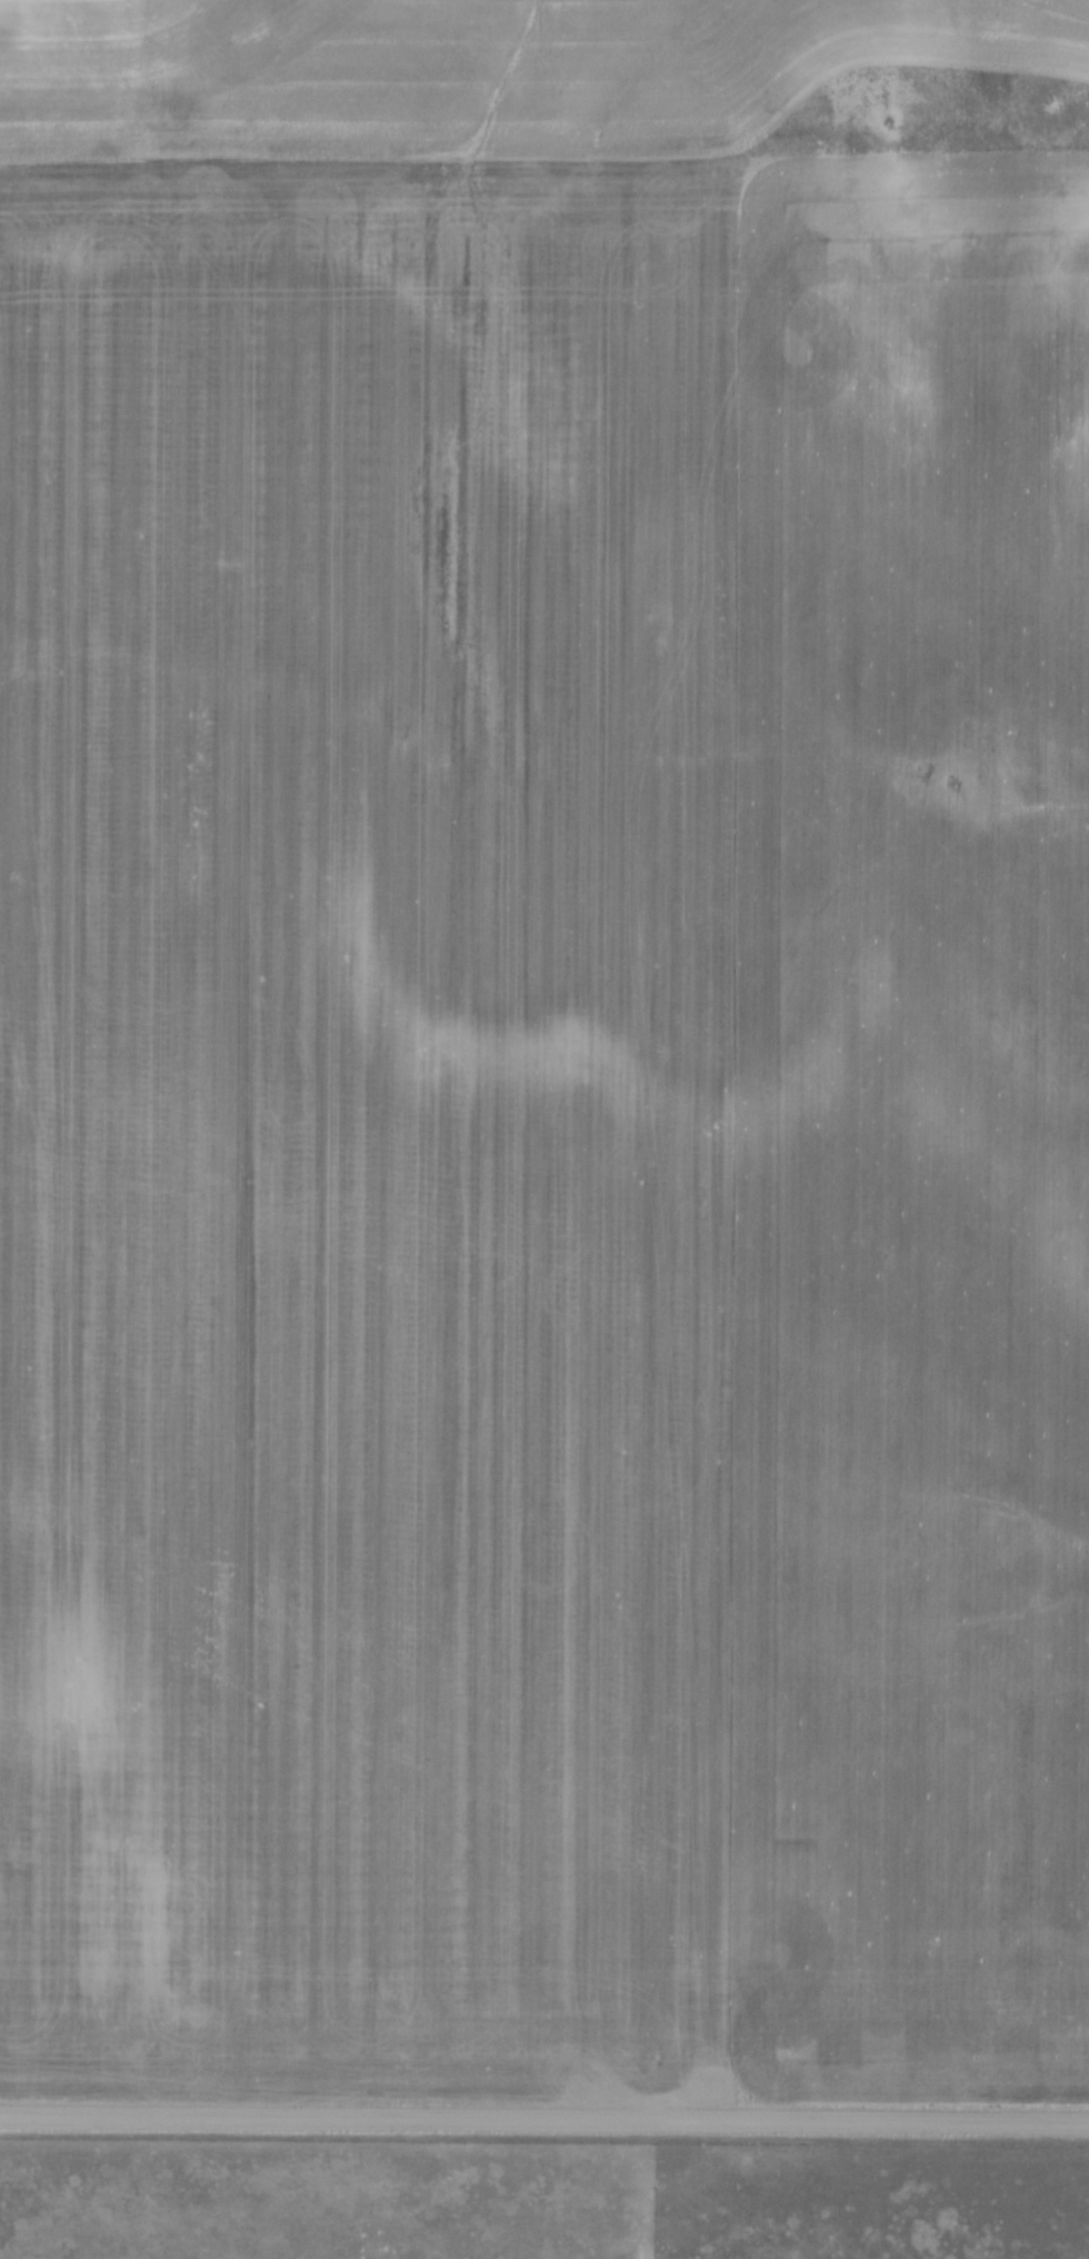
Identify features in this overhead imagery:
road: (543, 2121)

